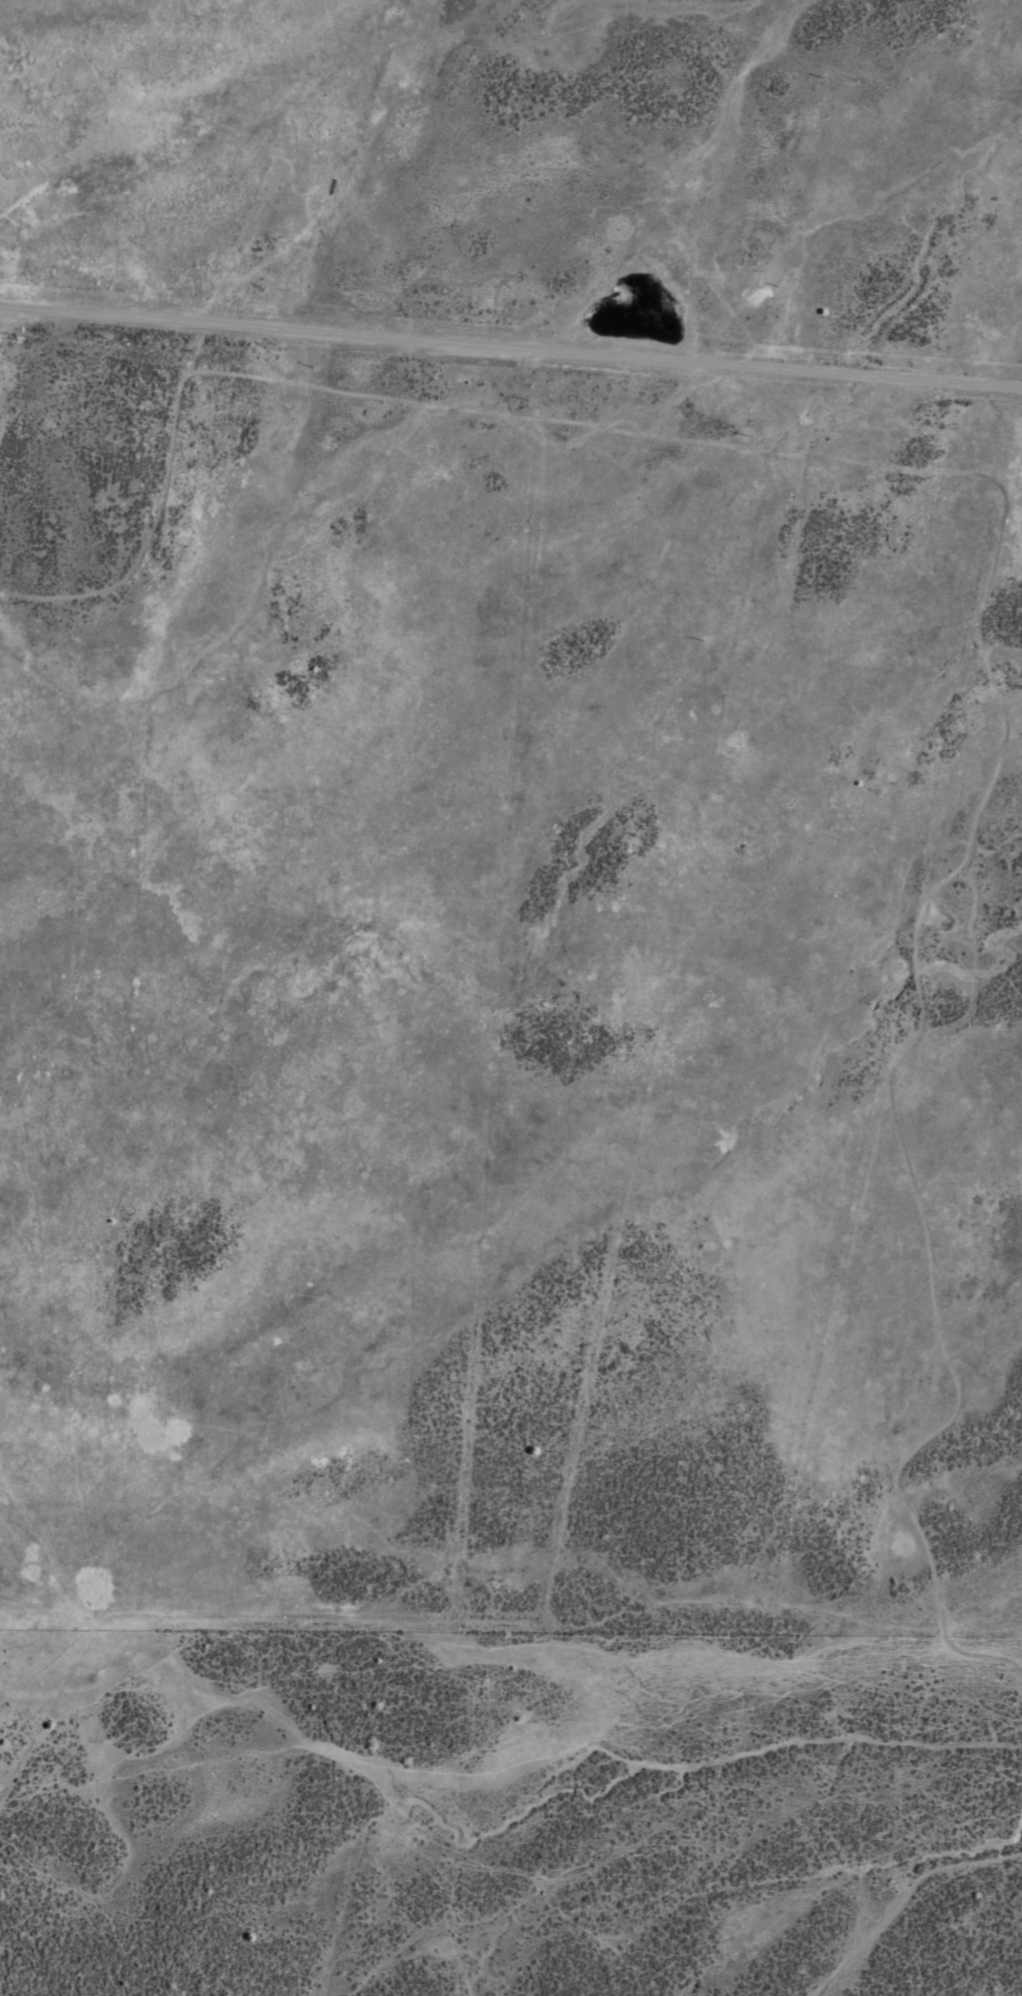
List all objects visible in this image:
road: (510, 347)
road: (195, 349)
road: (160, 499)
crop: (511, 998)
road: (902, 1898)

